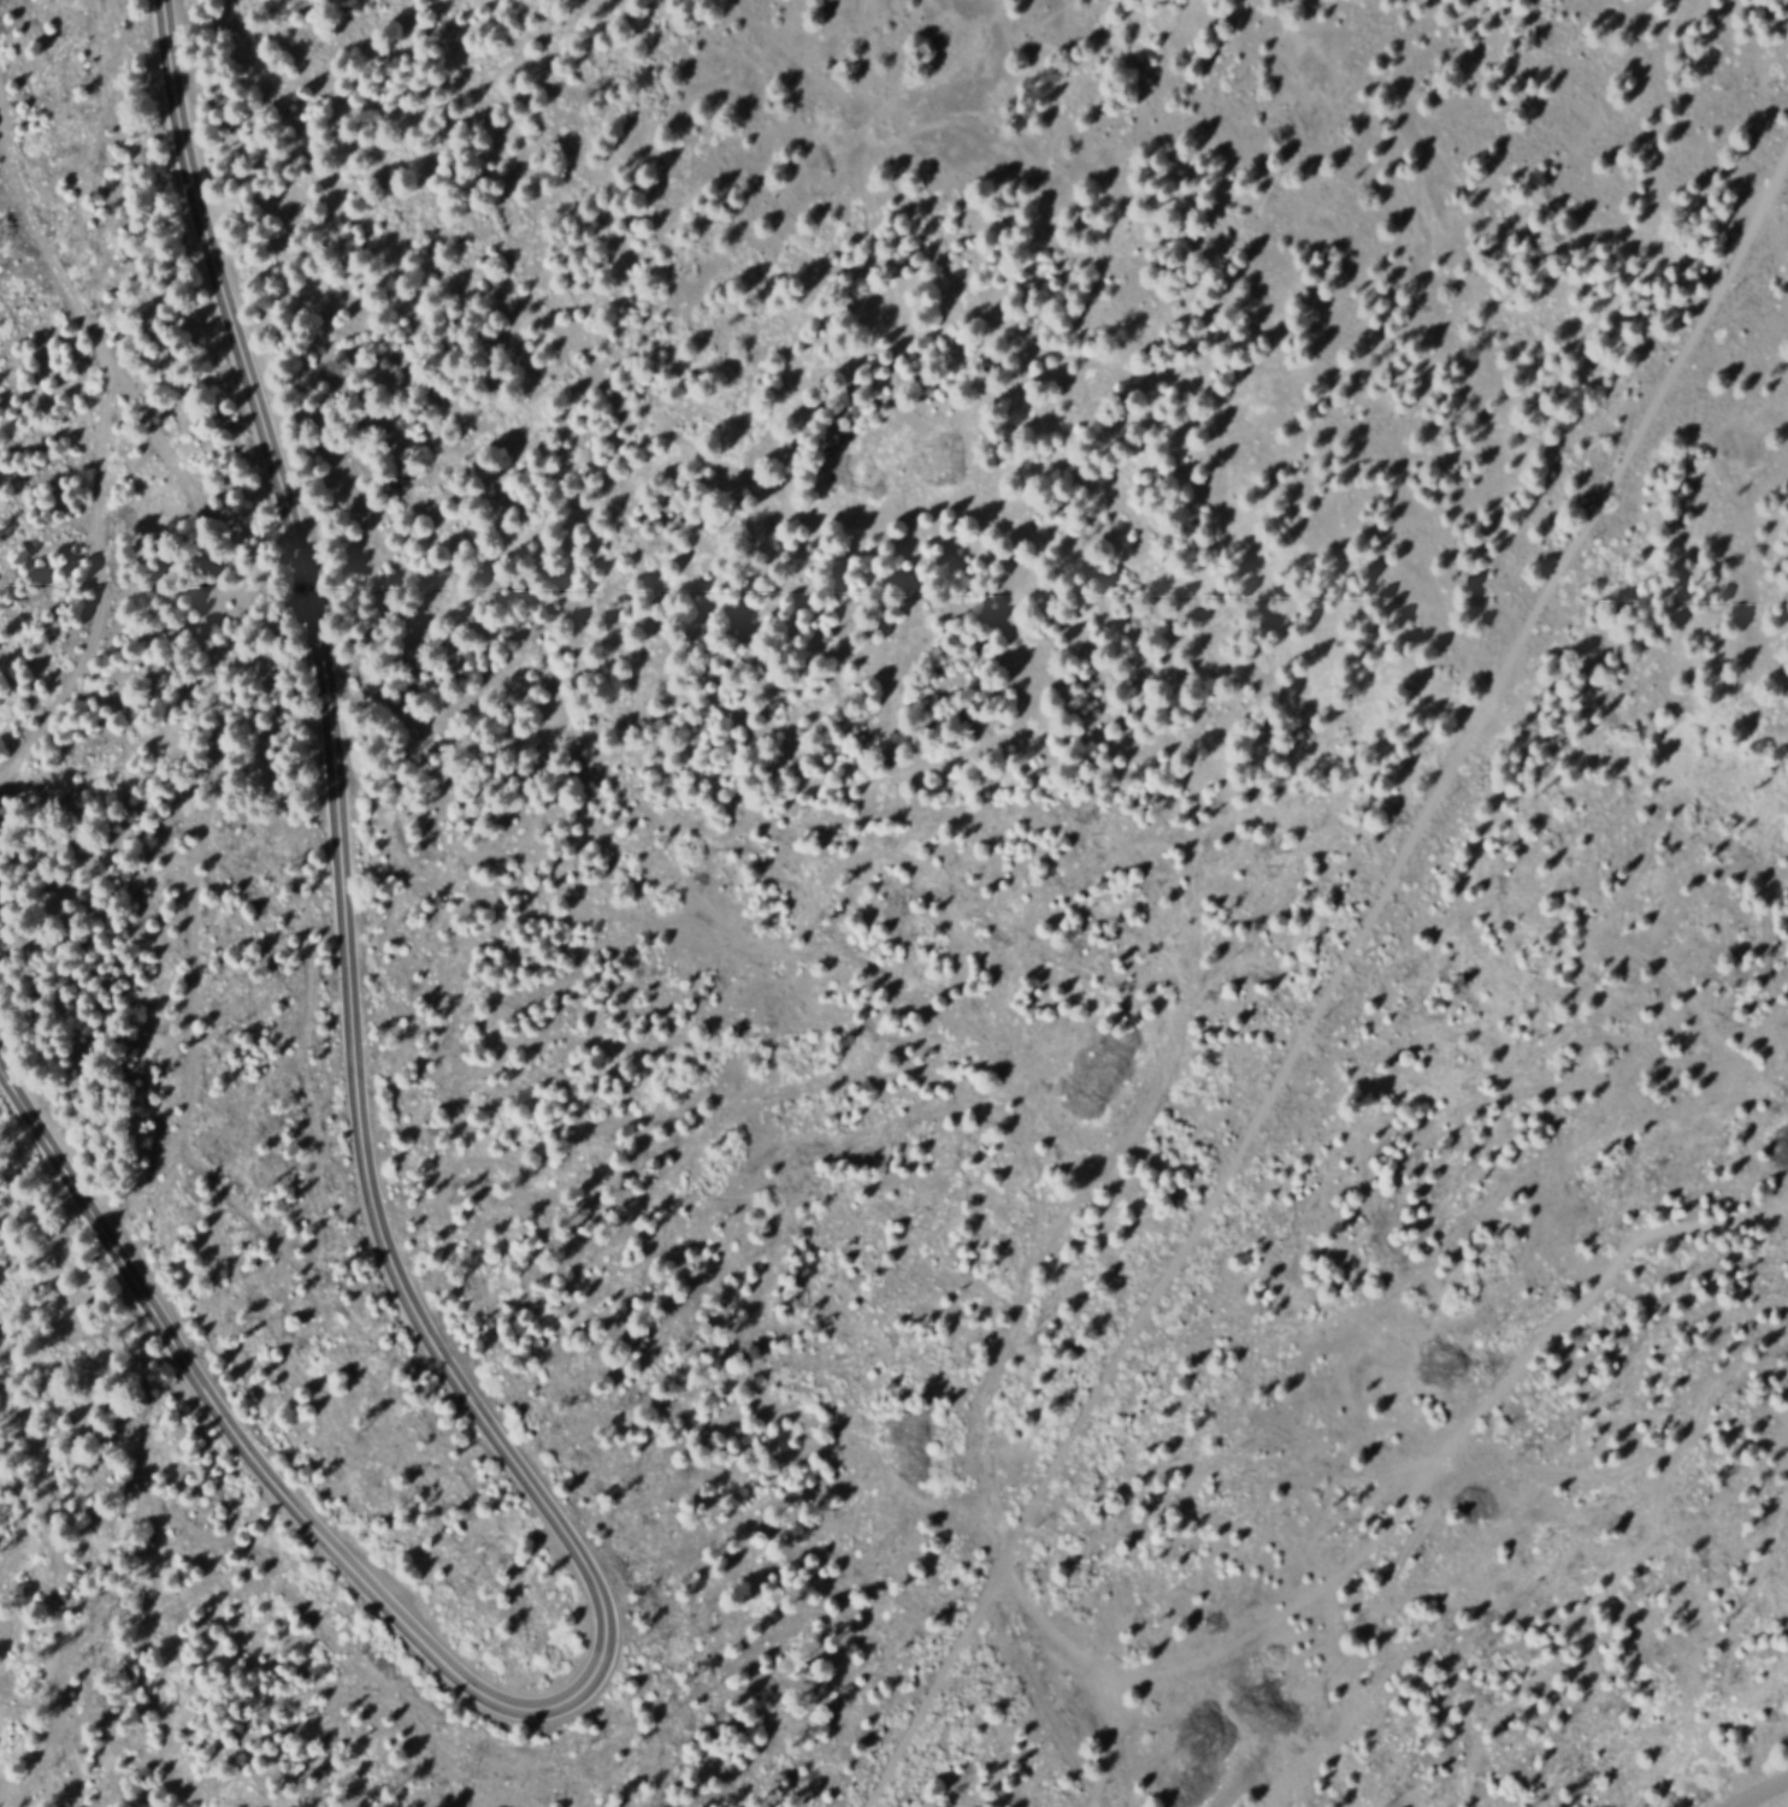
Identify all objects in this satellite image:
road: (419, 1310)
road: (1755, 1790)

